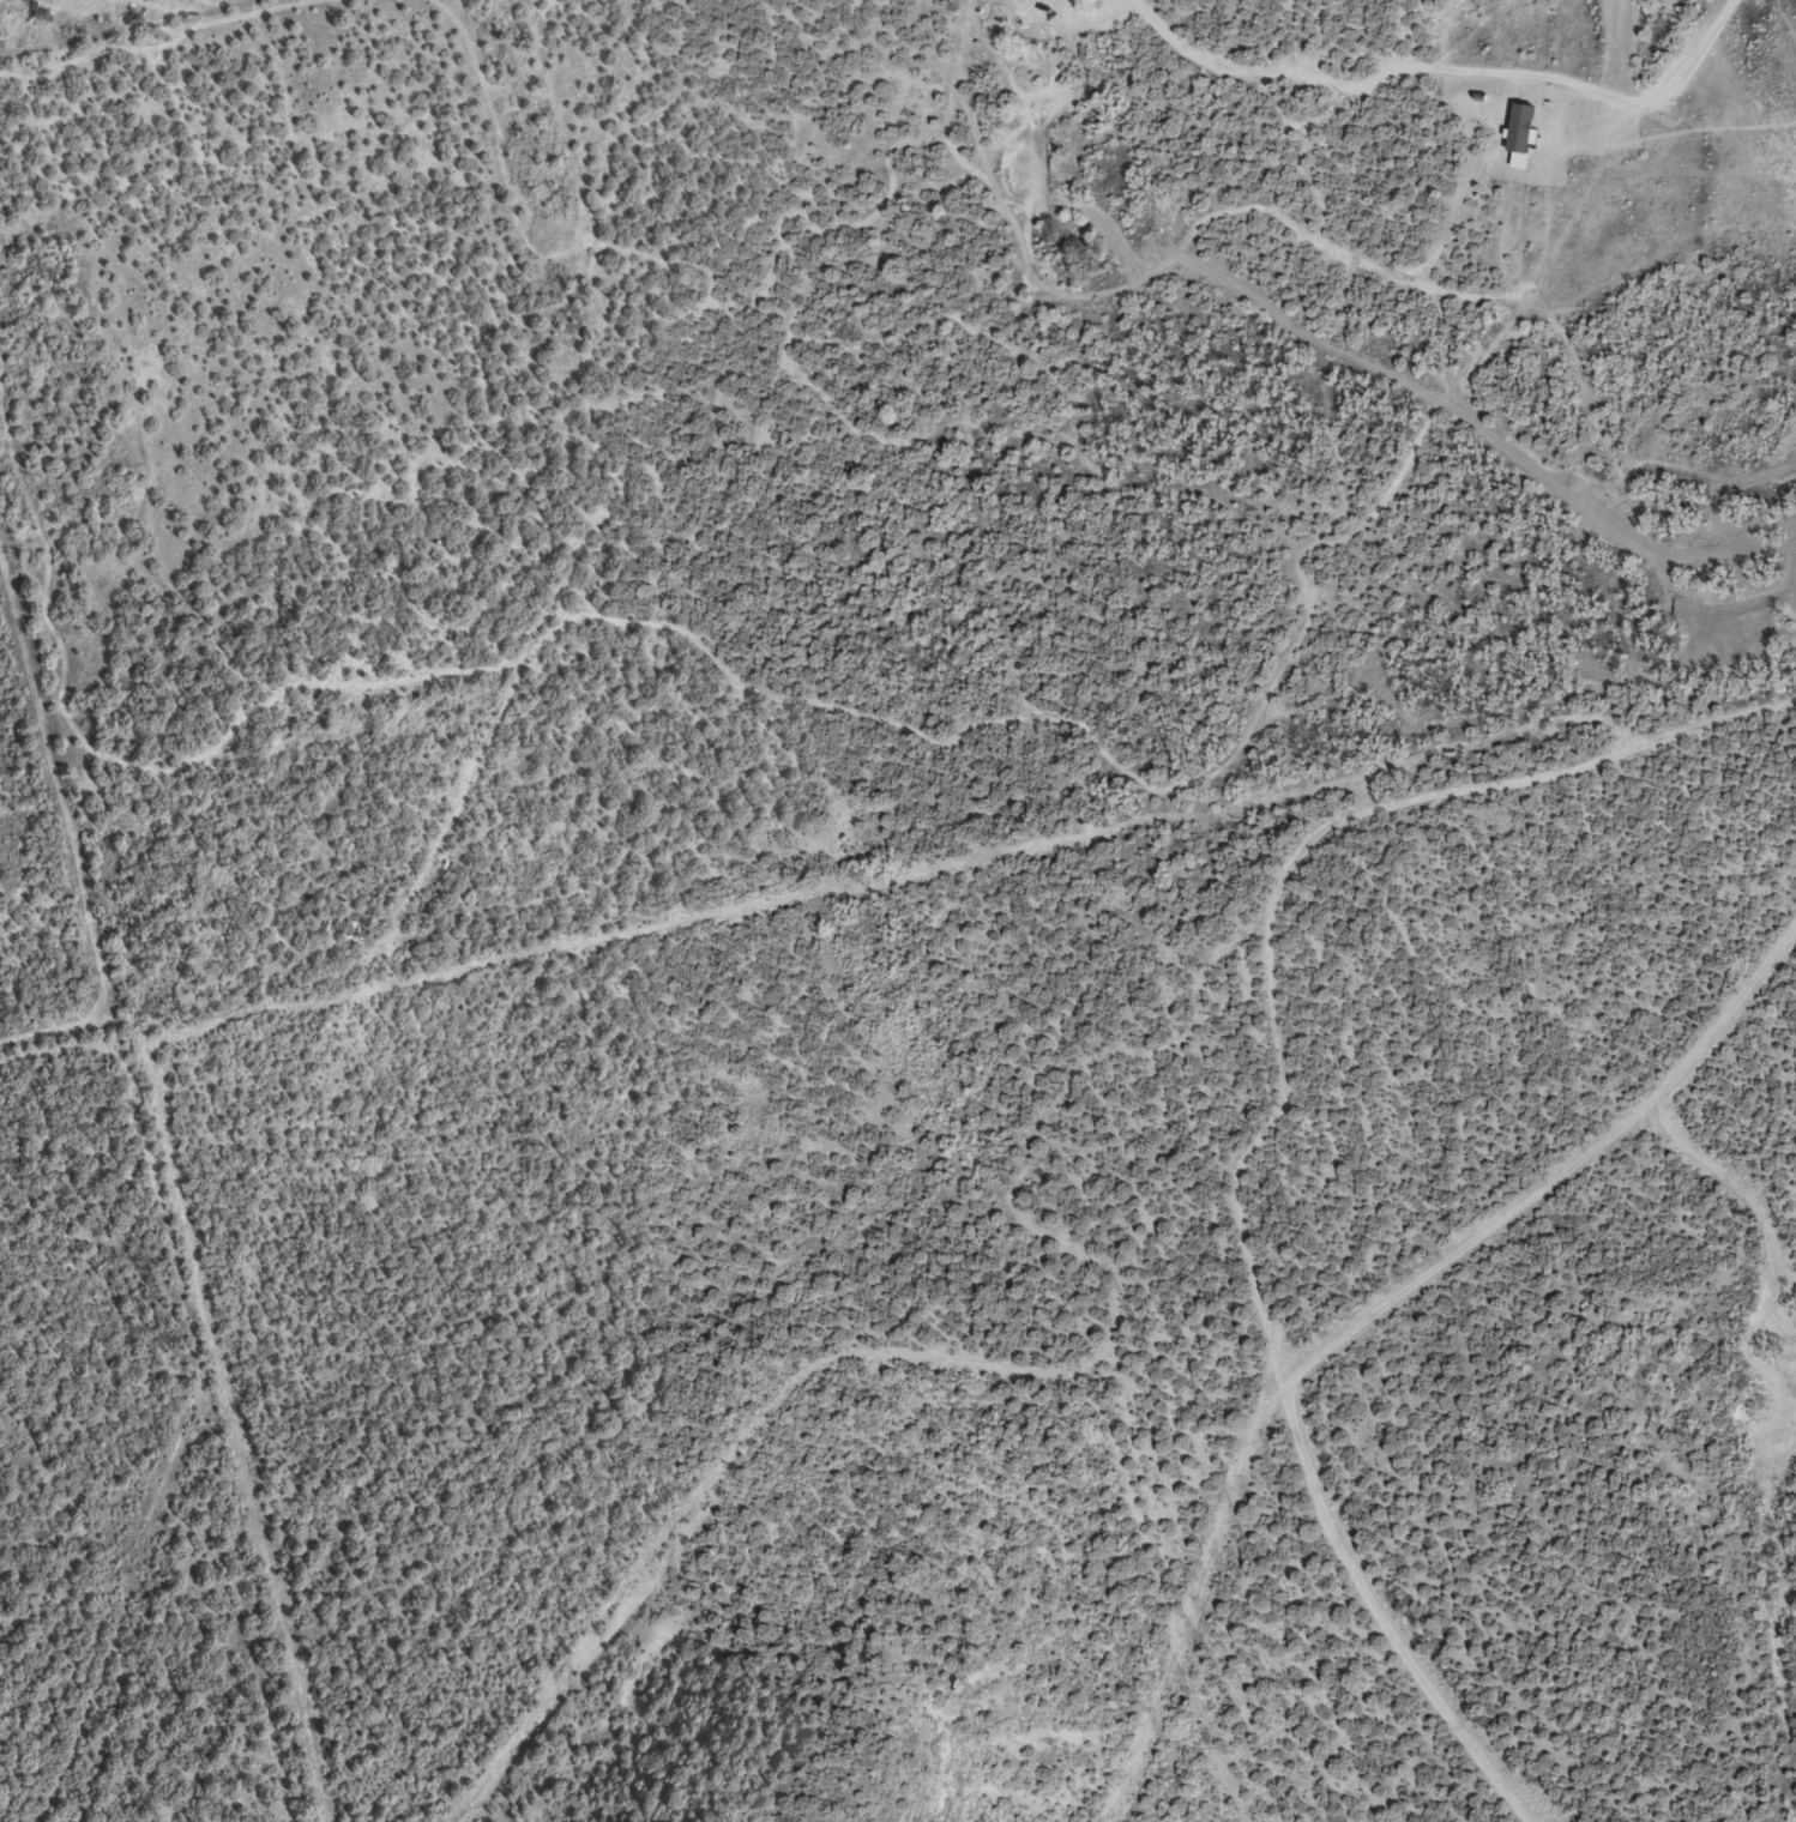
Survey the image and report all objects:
building: (1521, 127)

